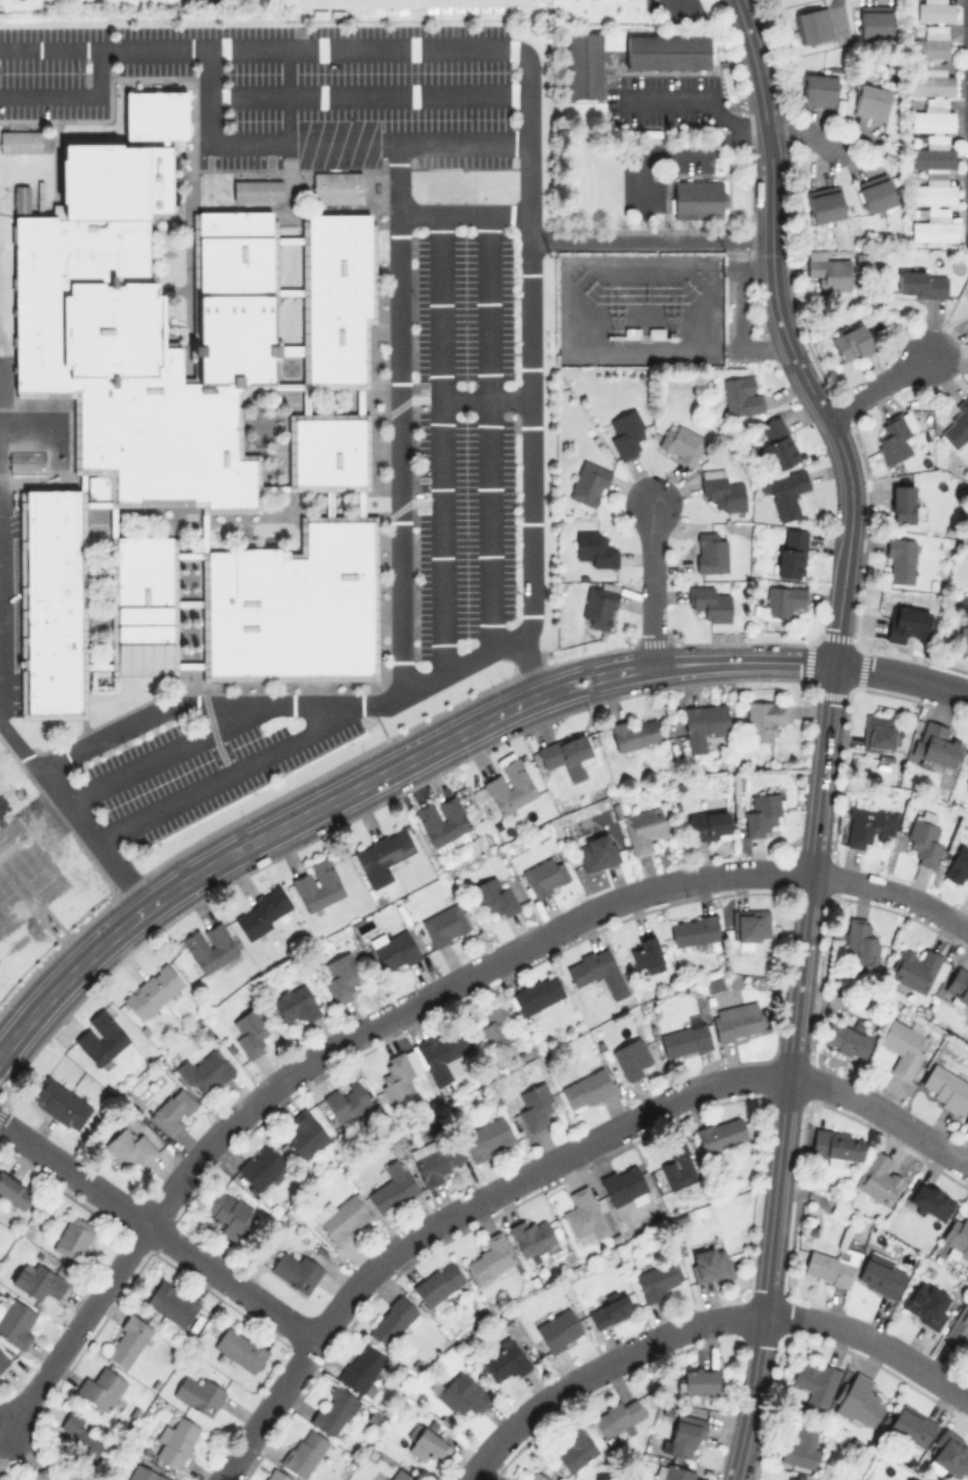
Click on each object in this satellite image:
building: (935, 10)
building: (875, 21)
building: (813, 26)
building: (929, 45)
road: (49, 49)
road: (394, 49)
building: (666, 51)
building: (582, 64)
parking lot: (668, 81)
building: (931, 82)
parking lot: (283, 84)
building: (818, 89)
road: (367, 94)
road: (73, 96)
road: (691, 97)
building: (871, 101)
road: (763, 112)
parking lot: (649, 113)
building: (932, 120)
road: (802, 135)
building: (19, 140)
road: (322, 140)
road: (683, 150)
building: (932, 157)
parking lot: (685, 164)
road: (400, 176)
building: (448, 180)
building: (336, 187)
building: (257, 190)
parking lot: (641, 190)
building: (875, 192)
building: (933, 193)
building: (39, 195)
building: (697, 198)
building: (21, 200)
building: (824, 203)
road: (438, 213)
building: (933, 227)
road: (648, 238)
building: (827, 270)
building: (967, 278)
building: (921, 283)
power substation: (639, 309)
building: (850, 342)
road: (878, 386)
building: (740, 394)
road: (485, 398)
building: (957, 424)
building: (187, 428)
road: (488, 430)
parking lot: (464, 431)
building: (626, 431)
building: (894, 436)
road: (17, 437)
building: (778, 441)
road: (838, 441)
road: (442, 442)
building: (681, 443)
building: (588, 482)
building: (720, 489)
building: (786, 492)
building: (902, 502)
building: (594, 548)
building: (710, 551)
building: (791, 551)
building: (900, 558)
road: (651, 585)
building: (782, 599)
building: (709, 603)
building: (598, 604)
building: (906, 622)
building: (964, 635)
road: (491, 648)
road: (900, 677)
road: (214, 699)
building: (765, 718)
building: (703, 725)
building: (635, 733)
building: (878, 733)
building: (935, 744)
road: (164, 750)
building: (566, 754)
building: (967, 766)
road: (230, 769)
parking lot: (193, 774)
road: (378, 776)
building: (509, 786)
building: (761, 813)
road: (73, 814)
building: (442, 819)
building: (707, 824)
building: (868, 825)
building: (645, 827)
building: (922, 838)
building: (595, 851)
building: (381, 855)
building: (958, 863)
building: (544, 876)
building: (317, 884)
building: (494, 896)
building: (262, 911)
building: (444, 924)
building: (750, 924)
building: (693, 929)
building: (860, 941)
road: (519, 945)
building: (209, 946)
building: (394, 950)
building: (646, 954)
building: (916, 967)
building: (596, 970)
building: (341, 974)
building: (957, 986)
building: (152, 990)
building: (536, 993)
building: (294, 1003)
building: (736, 1020)
building: (496, 1026)
building: (250, 1031)
building: (101, 1036)
building: (684, 1040)
building: (847, 1040)
building: (902, 1044)
building: (441, 1052)
building: (632, 1057)
building: (205, 1071)
road: (787, 1074)
building: (397, 1077)
building: (944, 1086)
building: (586, 1088)
building: (60, 1102)
building: (535, 1106)
building: (173, 1109)
building: (966, 1121)
building: (720, 1133)
building: (305, 1134)
building: (487, 1138)
building: (130, 1144)
building: (835, 1145)
building: (436, 1159)
road: (546, 1163)
building: (678, 1165)
building: (260, 1166)
building: (878, 1178)
building: (624, 1184)
building: (393, 1186)
building: (14, 1190)
building: (928, 1199)
building: (229, 1212)
building: (583, 1216)
building: (341, 1217)
road: (158, 1232)
building: (957, 1235)
building: (532, 1236)
building: (74, 1237)
building: (491, 1258)
building: (708, 1263)
building: (831, 1265)
building: (296, 1270)
building: (880, 1277)
building: (657, 1279)
building: (37, 1281)
building: (438, 1283)
building: (172, 1302)
building: (925, 1302)
building: (609, 1309)
building: (394, 1320)
building: (15, 1321)
road: (701, 1323)
building: (958, 1326)
road: (77, 1329)
building: (558, 1329)
building: (128, 1340)
building: (239, 1348)
building: (4, 1356)
building: (505, 1360)
building: (360, 1366)
building: (697, 1381)
building: (815, 1381)
building: (101, 1389)
building: (198, 1394)
building: (461, 1394)
building: (859, 1401)
building: (333, 1410)
building: (616, 1415)
building: (911, 1425)
building: (684, 1435)
building: (80, 1437)
building: (176, 1441)
building: (426, 1444)
building: (801, 1446)
building: (574, 1450)
building: (305, 1452)
building: (949, 1455)
building: (42, 1469)
building: (672, 1472)
building: (146, 1473)
building: (276, 1475)
building: (399, 1475)
building: (536, 1476)
building: (790, 1478)
building: (909, 1478)
building: (517, 1479)

